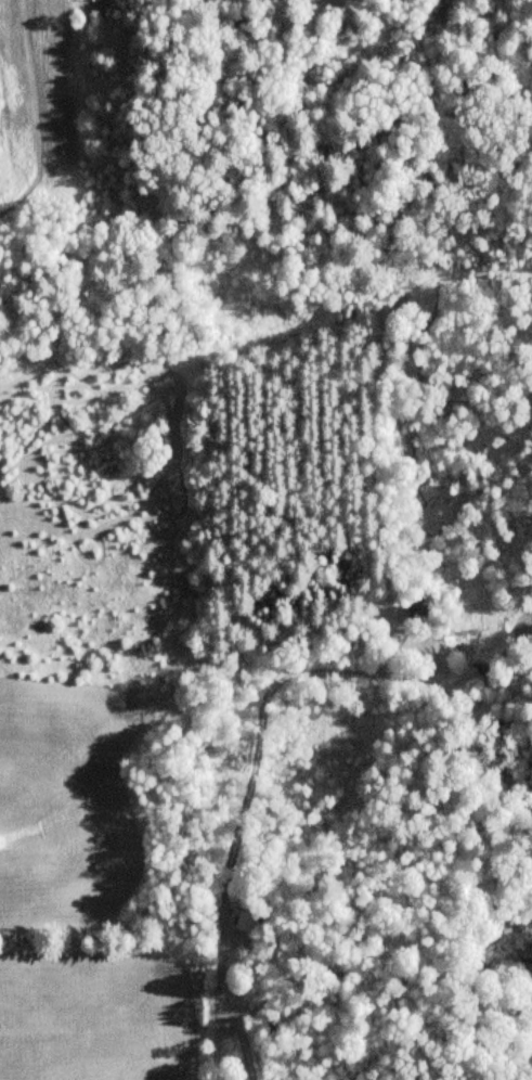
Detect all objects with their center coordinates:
building: (417, 614)
building: (244, 921)

